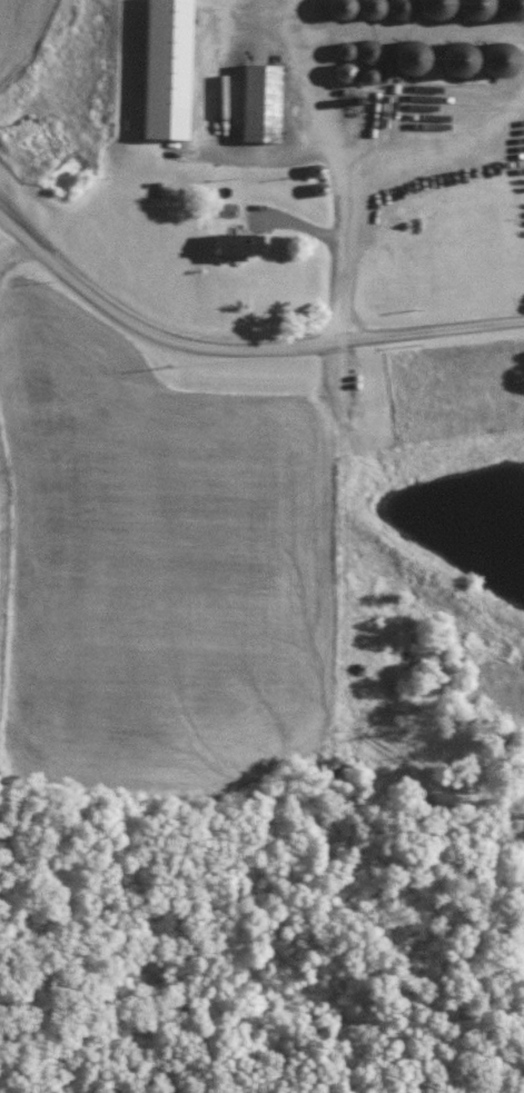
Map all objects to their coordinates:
building: (168, 70)
building: (261, 103)
road: (330, 159)
building: (240, 247)
road: (14, 252)
road: (240, 344)

